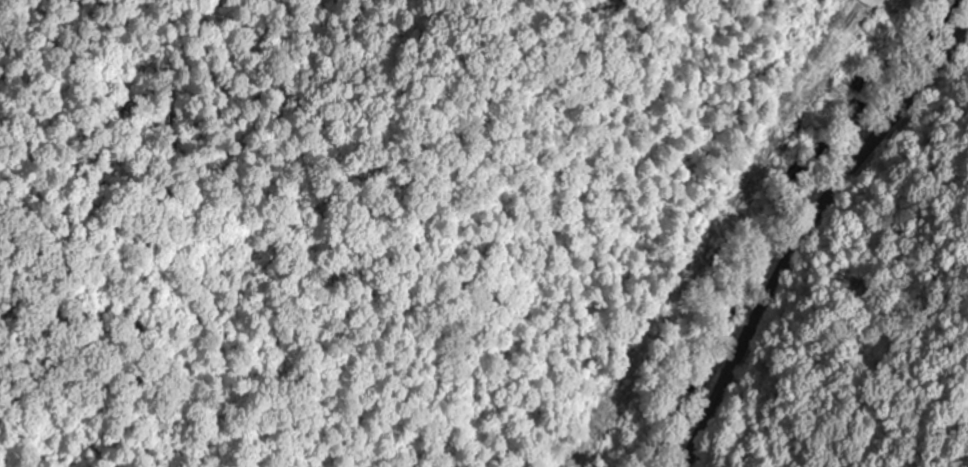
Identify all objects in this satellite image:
road: (804, 234)

